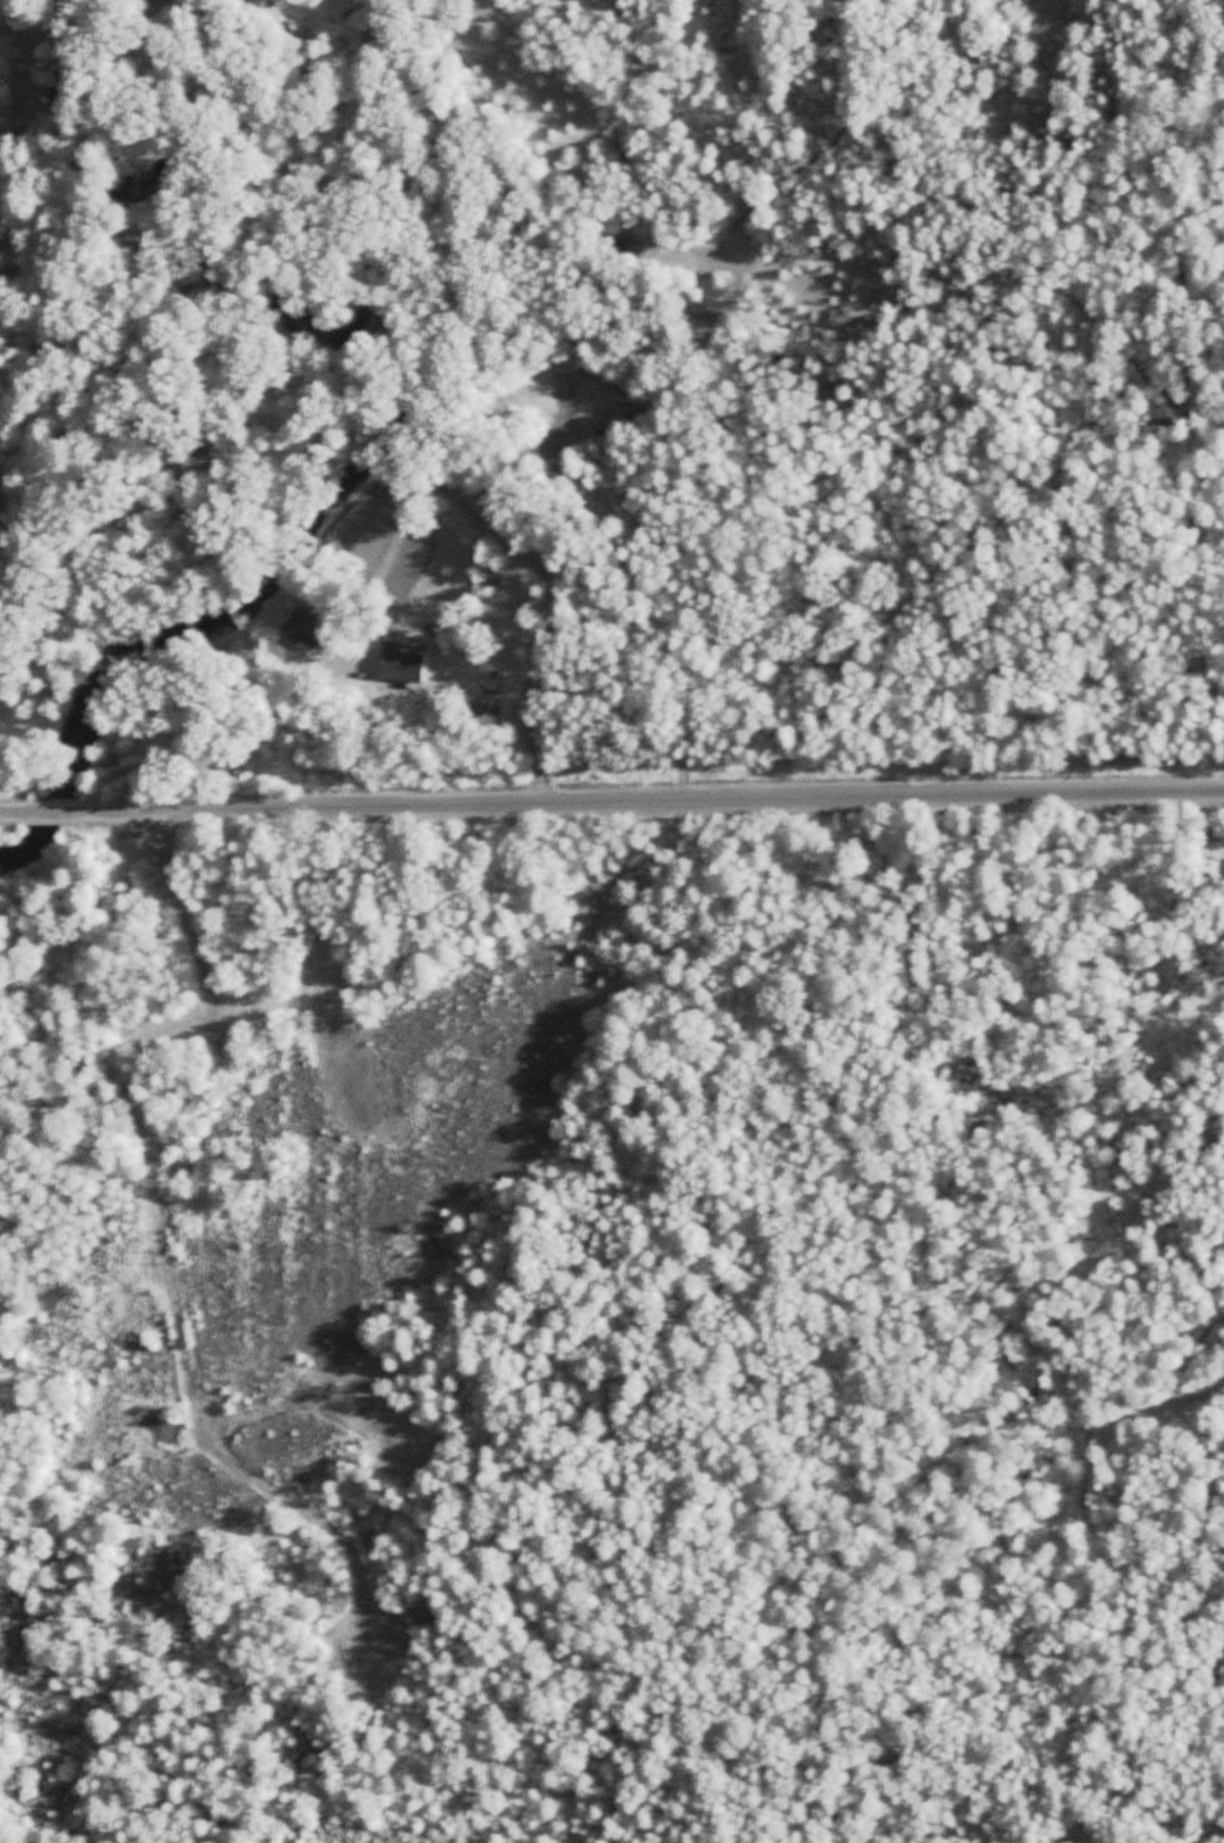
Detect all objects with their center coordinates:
road: (412, 506)
building: (400, 664)
road: (611, 800)

